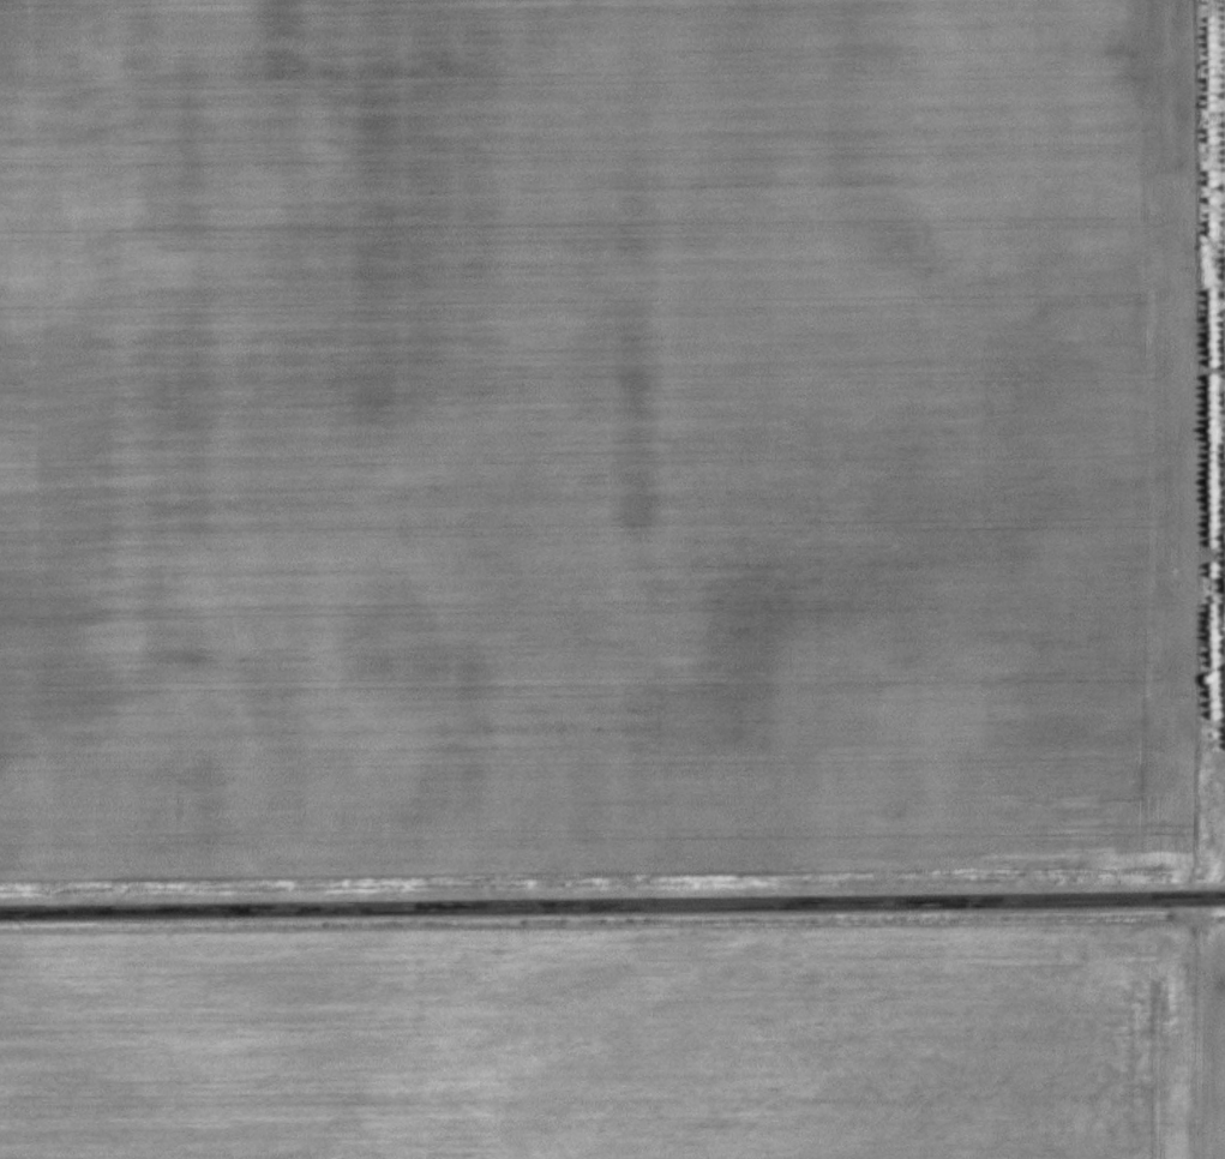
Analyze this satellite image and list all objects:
road: (612, 909)

